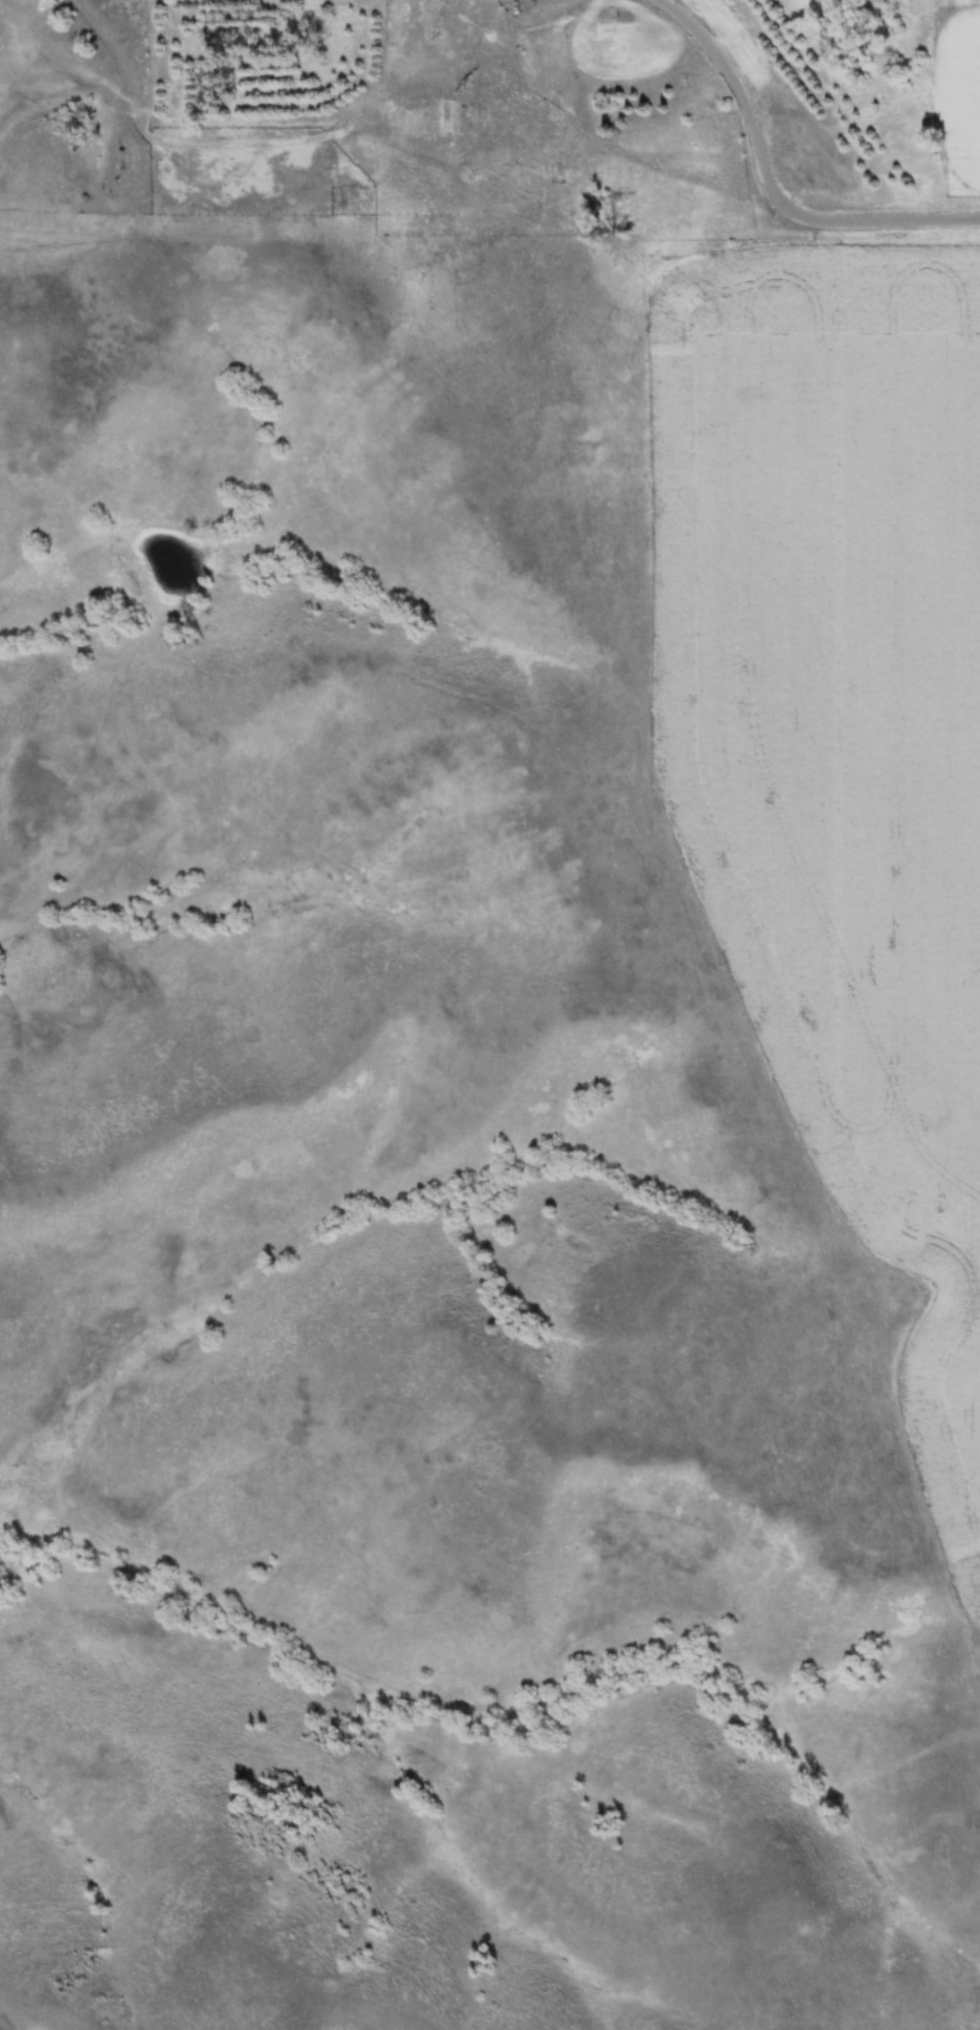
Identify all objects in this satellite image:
road: (901, 219)
crop: (842, 742)

